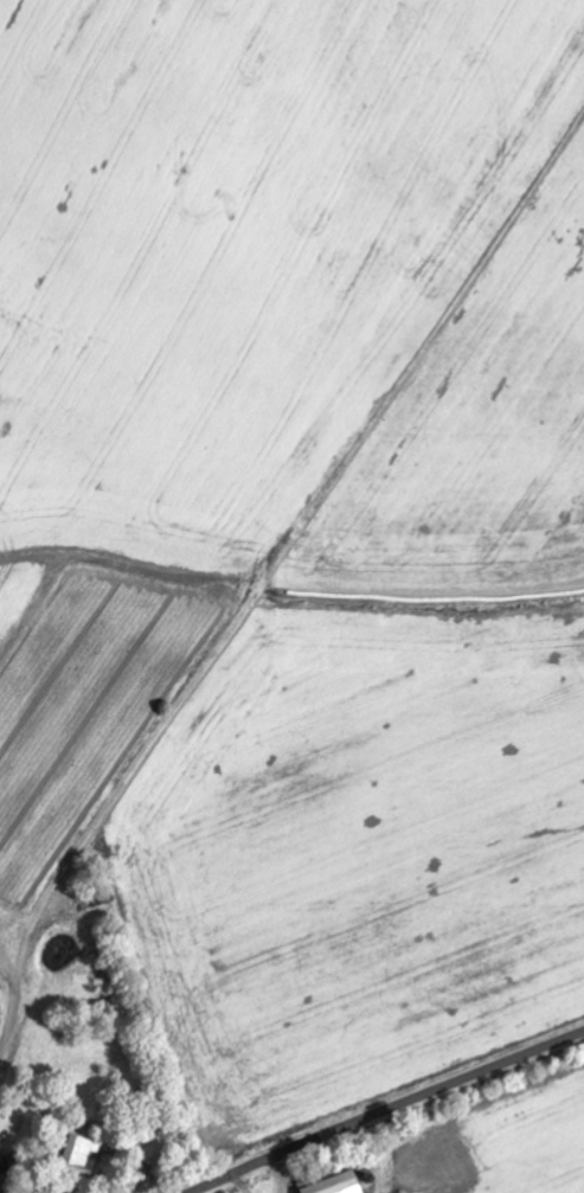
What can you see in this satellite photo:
road: (386, 1110)
building: (78, 1155)
building: (339, 1184)

